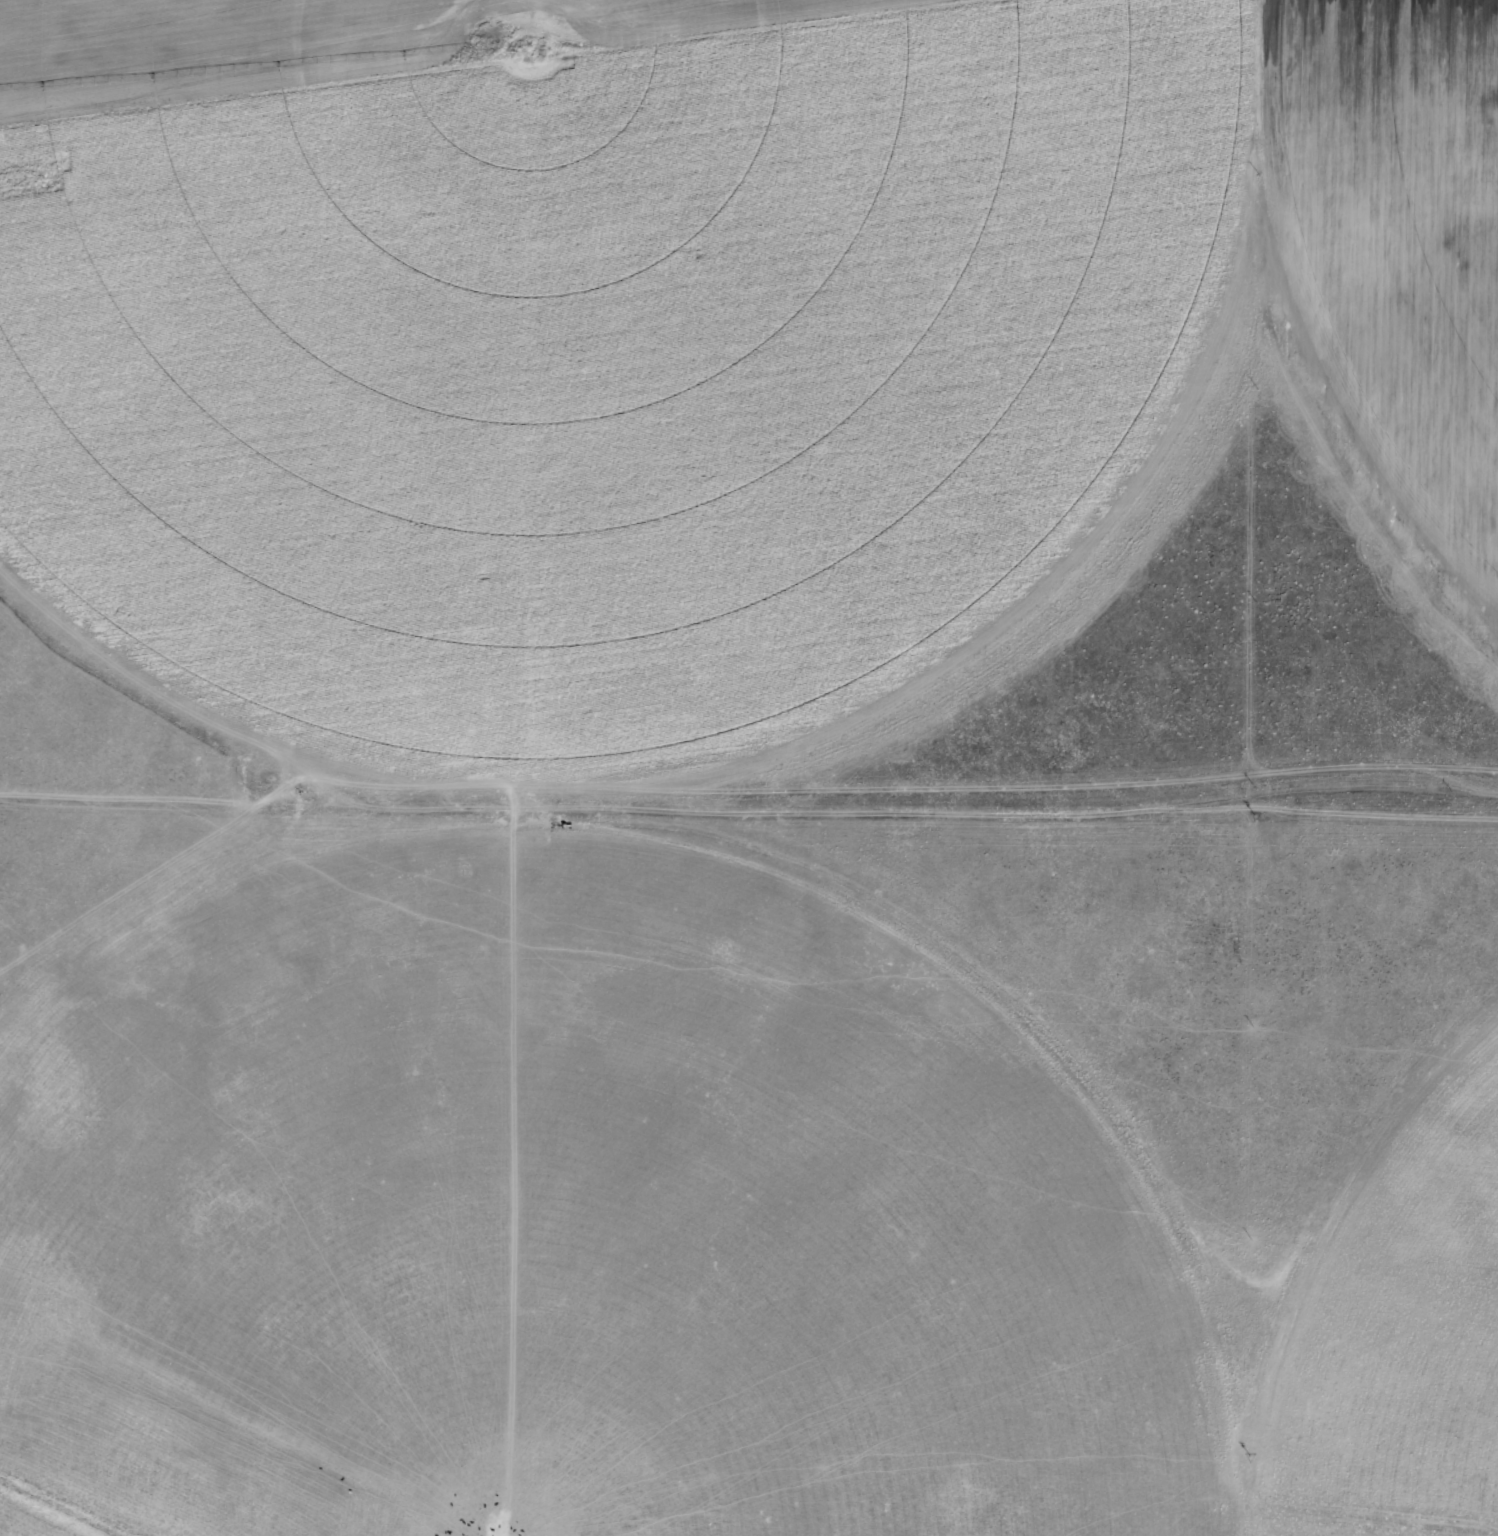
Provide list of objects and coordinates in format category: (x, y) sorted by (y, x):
road: (484, 767)

